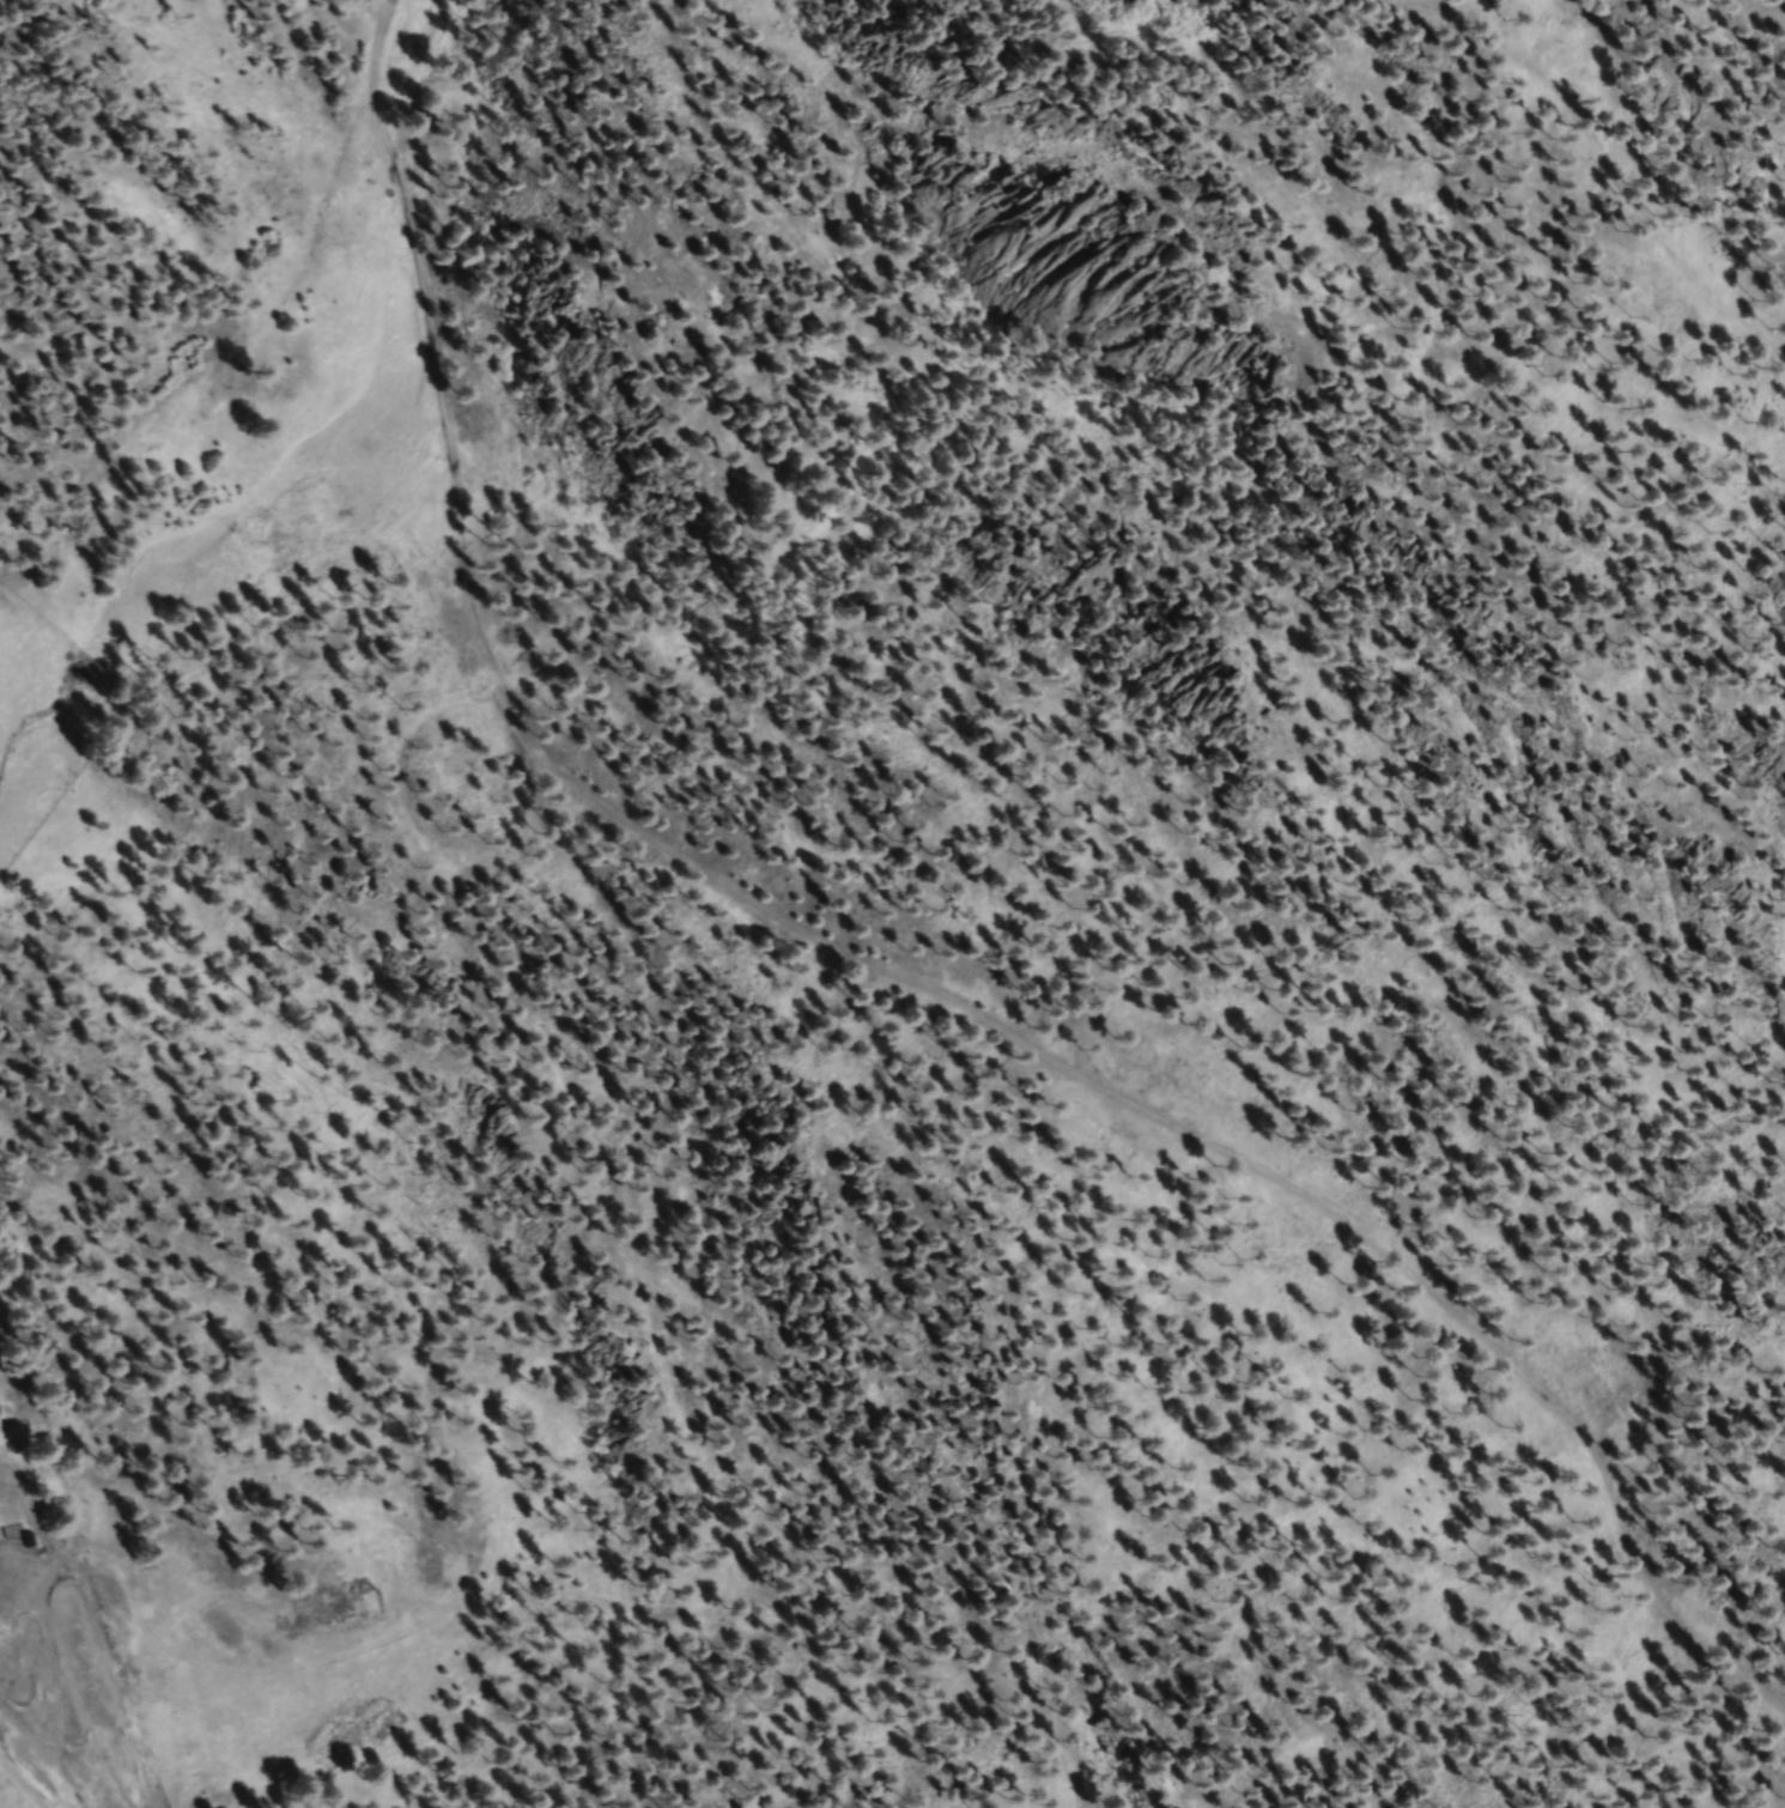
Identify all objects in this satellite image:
road: (881, 973)
road: (13, 1794)

